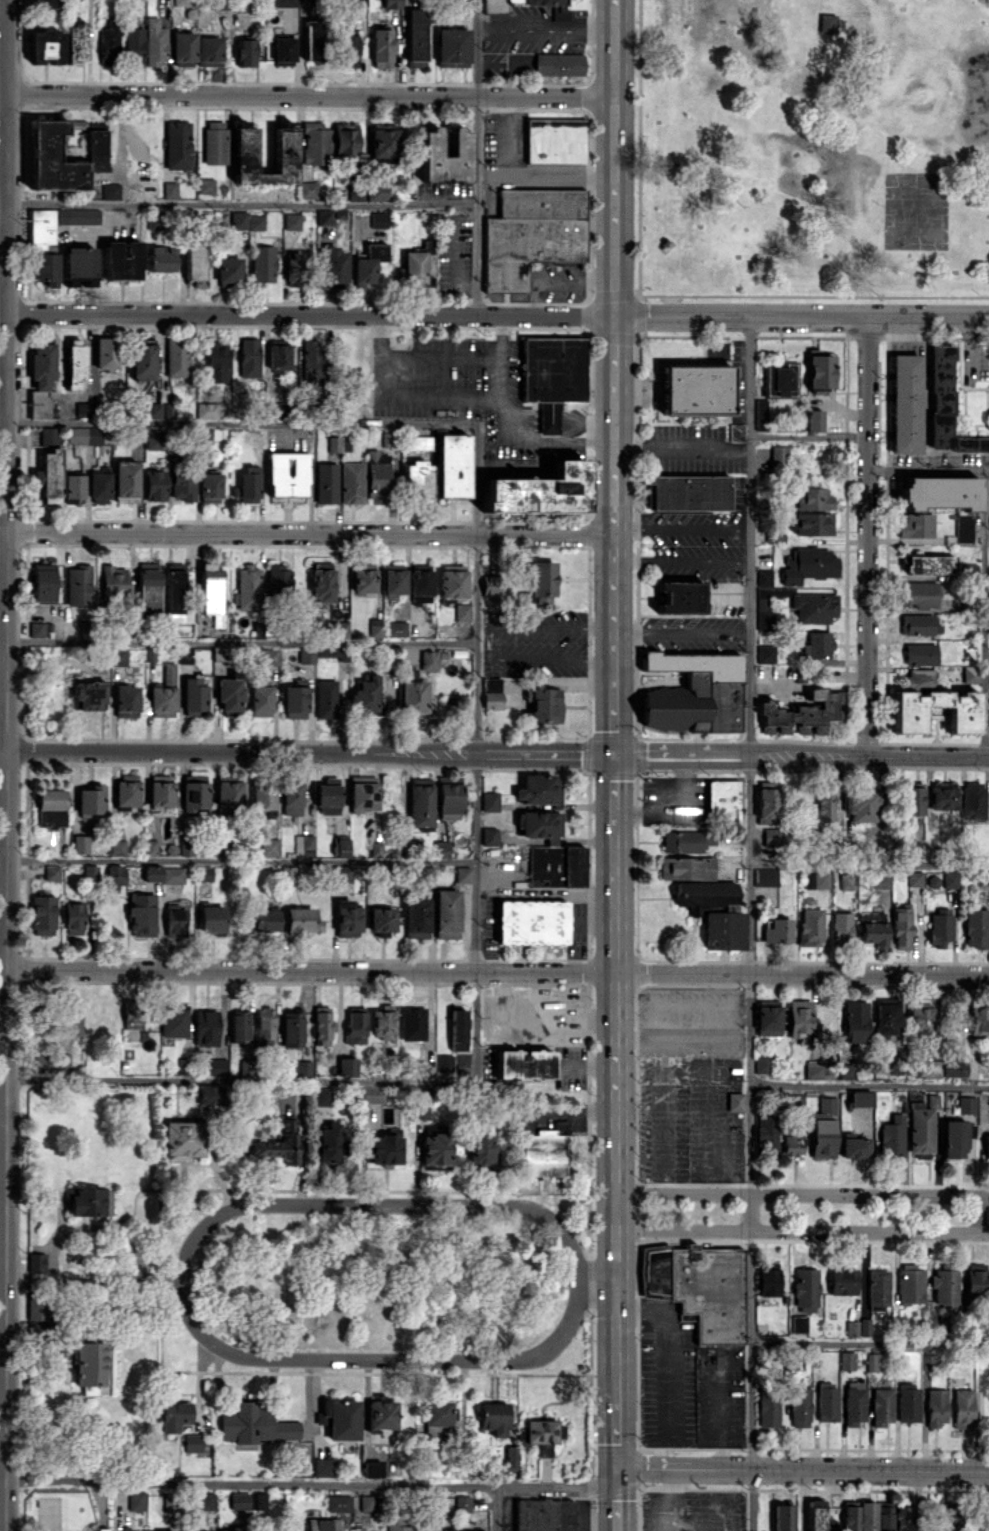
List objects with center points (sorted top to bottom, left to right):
building: (291, 3)
building: (391, 4)
building: (495, 10)
building: (828, 23)
road: (546, 28)
building: (416, 37)
building: (311, 39)
building: (155, 41)
building: (75, 42)
building: (108, 43)
building: (45, 45)
building: (134, 46)
building: (452, 47)
building: (183, 48)
building: (381, 48)
building: (283, 50)
building: (208, 51)
building: (347, 51)
building: (244, 52)
building: (559, 64)
road: (4, 93)
road: (310, 94)
road: (515, 135)
building: (344, 138)
building: (555, 140)
building: (383, 141)
building: (214, 142)
building: (458, 143)
building: (177, 145)
building: (95, 146)
building: (284, 149)
park: (811, 151)
road: (478, 158)
building: (52, 159)
road: (497, 174)
road: (565, 174)
building: (206, 185)
building: (169, 189)
building: (307, 189)
building: (110, 190)
building: (379, 191)
building: (355, 194)
road: (239, 203)
park: (916, 209)
building: (77, 216)
building: (323, 217)
building: (378, 219)
building: (154, 220)
building: (291, 221)
building: (255, 222)
building: (531, 234)
building: (43, 247)
building: (161, 259)
building: (120, 260)
building: (194, 261)
building: (368, 262)
building: (262, 264)
building: (78, 265)
building: (333, 267)
building: (412, 268)
building: (294, 269)
building: (228, 271)
road: (558, 277)
parking lot: (558, 280)
road: (498, 317)
road: (614, 321)
building: (105, 353)
building: (278, 355)
road: (501, 355)
building: (176, 357)
building: (249, 357)
building: (311, 359)
building: (143, 360)
building: (215, 361)
building: (74, 364)
building: (818, 370)
road: (7, 375)
building: (552, 376)
building: (42, 380)
building: (779, 380)
building: (695, 390)
road: (401, 394)
building: (904, 403)
building: (945, 403)
building: (83, 409)
building: (276, 409)
building: (158, 410)
building: (209, 410)
building: (760, 413)
building: (814, 420)
road: (238, 422)
building: (83, 435)
road: (538, 435)
building: (49, 436)
building: (203, 436)
road: (807, 436)
building: (155, 439)
building: (418, 442)
road: (630, 442)
building: (336, 443)
road: (698, 444)
building: (778, 456)
building: (452, 465)
road: (927, 470)
building: (287, 473)
building: (50, 476)
building: (376, 477)
building: (418, 478)
building: (125, 480)
building: (351, 482)
building: (246, 483)
building: (326, 483)
building: (154, 485)
building: (73, 486)
building: (183, 486)
building: (99, 487)
building: (209, 487)
building: (538, 491)
building: (688, 492)
building: (812, 498)
building: (810, 523)
building: (916, 525)
building: (963, 527)
road: (680, 528)
road: (3, 530)
road: (309, 533)
building: (773, 536)
road: (749, 539)
road: (866, 539)
road: (681, 560)
building: (927, 564)
building: (808, 565)
building: (763, 576)
building: (112, 579)
building: (278, 579)
building: (420, 579)
building: (363, 580)
building: (394, 580)
building: (452, 581)
building: (540, 582)
building: (43, 583)
building: (321, 584)
building: (492, 584)
building: (78, 585)
building: (247, 587)
building: (148, 589)
road: (476, 589)
building: (210, 593)
building: (917, 594)
building: (177, 596)
building: (680, 596)
building: (420, 598)
building: (796, 606)
building: (462, 612)
road: (984, 615)
building: (919, 624)
building: (39, 628)
building: (396, 628)
road: (681, 634)
parking lot: (533, 639)
road: (238, 640)
road: (489, 643)
building: (817, 645)
building: (332, 652)
building: (765, 654)
building: (919, 654)
building: (305, 655)
building: (118, 657)
building: (268, 657)
road: (614, 659)
building: (428, 660)
building: (918, 678)
building: (229, 692)
building: (491, 692)
building: (163, 693)
building: (693, 693)
building: (87, 695)
building: (193, 696)
building: (366, 696)
building: (325, 698)
building: (413, 699)
building: (260, 700)
building: (294, 702)
building: (543, 704)
building: (935, 710)
building: (799, 714)
road: (614, 716)
building: (988, 716)
road: (237, 752)
traffic signals: (614, 755)
road: (731, 758)
road: (614, 782)
building: (126, 789)
building: (538, 789)
building: (160, 790)
building: (194, 792)
building: (228, 792)
building: (943, 795)
building: (327, 796)
building: (262, 797)
building: (449, 797)
building: (291, 798)
building: (910, 799)
building: (90, 800)
building: (723, 800)
building: (972, 800)
building: (489, 801)
building: (420, 802)
building: (766, 803)
building: (861, 804)
building: (823, 805)
building: (50, 808)
road: (674, 810)
building: (488, 836)
building: (771, 836)
building: (686, 841)
building: (80, 844)
building: (303, 845)
building: (150, 846)
building: (270, 846)
building: (117, 847)
building: (184, 847)
building: (220, 847)
building: (341, 847)
building: (375, 848)
building: (440, 848)
building: (170, 849)
building: (913, 849)
building: (551, 852)
road: (237, 860)
road: (868, 863)
building: (686, 867)
building: (51, 872)
building: (89, 872)
building: (204, 873)
building: (287, 873)
building: (164, 874)
building: (343, 874)
building: (462, 874)
building: (115, 876)
building: (765, 876)
building: (983, 876)
building: (914, 878)
building: (820, 879)
building: (949, 879)
building: (846, 881)
building: (880, 881)
building: (932, 881)
building: (705, 896)
building: (446, 913)
building: (42, 915)
building: (141, 915)
building: (211, 917)
building: (72, 918)
building: (347, 918)
building: (416, 918)
road: (474, 919)
building: (174, 920)
building: (263, 920)
building: (301, 920)
building: (382, 920)
building: (531, 922)
building: (810, 926)
building: (939, 926)
building: (901, 927)
building: (976, 927)
building: (841, 928)
building: (873, 928)
building: (722, 930)
building: (777, 930)
road: (497, 971)
road: (748, 976)
road: (543, 995)
building: (131, 1014)
road: (571, 1017)
building: (799, 1017)
building: (920, 1017)
building: (767, 1018)
building: (887, 1018)
building: (173, 1020)
building: (854, 1021)
building: (978, 1021)
building: (412, 1023)
building: (382, 1024)
building: (239, 1025)
building: (322, 1025)
building: (206, 1026)
building: (355, 1026)
building: (457, 1027)
building: (291, 1028)
building: (42, 1062)
building: (444, 1062)
building: (762, 1063)
building: (523, 1064)
building: (181, 1065)
building: (217, 1066)
building: (347, 1066)
road: (591, 1067)
building: (952, 1067)
building: (303, 1068)
building: (928, 1068)
building: (424, 1069)
building: (819, 1069)
building: (846, 1070)
road: (239, 1080)
road: (868, 1085)
building: (210, 1094)
building: (372, 1094)
building: (323, 1096)
building: (860, 1098)
building: (932, 1099)
building: (735, 1101)
building: (421, 1103)
building: (966, 1103)
road: (615, 1105)
road: (2, 1110)
building: (560, 1126)
building: (823, 1128)
building: (767, 1132)
building: (920, 1133)
building: (892, 1136)
building: (953, 1138)
road: (5, 1140)
building: (181, 1140)
building: (280, 1142)
building: (792, 1142)
building: (330, 1143)
building: (434, 1146)
building: (987, 1146)
building: (480, 1147)
building: (855, 1147)
building: (386, 1149)
building: (542, 1154)
road: (802, 1193)
building: (84, 1201)
road: (750, 1214)
road: (979, 1215)
road: (802, 1235)
building: (35, 1262)
road: (599, 1278)
building: (768, 1278)
park: (381, 1281)
building: (842, 1281)
building: (974, 1283)
building: (910, 1285)
building: (699, 1287)
building: (944, 1288)
building: (805, 1289)
building: (878, 1289)
building: (37, 1309)
building: (798, 1323)
building: (864, 1326)
building: (851, 1328)
road: (869, 1342)
road: (672, 1346)
road: (750, 1351)
road: (518, 1356)
building: (847, 1360)
building: (873, 1362)
building: (826, 1402)
building: (853, 1402)
building: (907, 1402)
building: (881, 1406)
building: (799, 1407)
building: (935, 1407)
building: (768, 1408)
building: (962, 1408)
building: (381, 1411)
building: (322, 1413)
building: (437, 1413)
road: (2, 1416)
building: (493, 1417)
building: (173, 1418)
building: (342, 1419)
building: (253, 1423)
building: (543, 1434)
building: (192, 1442)
road: (616, 1445)
building: (509, 1460)
building: (323, 1466)
traffic signals: (617, 1467)
building: (372, 1468)
road: (803, 1468)
road: (250, 1482)
road: (556, 1487)
road: (751, 1499)
building: (136, 1500)
building: (245, 1500)
building: (206, 1501)
building: (170, 1503)
building: (338, 1503)
building: (366, 1503)
building: (462, 1503)
road: (495, 1508)
road: (617, 1510)
building: (544, 1515)
building: (815, 1515)
building: (849, 1515)
building: (866, 1516)
building: (781, 1517)
building: (883, 1517)
building: (902, 1518)
building: (322, 1524)
building: (396, 1524)
building: (123, 1528)
building: (229, 1529)
building: (447, 1529)
building: (164, 1530)
building: (181, 1530)
building: (471, 1530)

